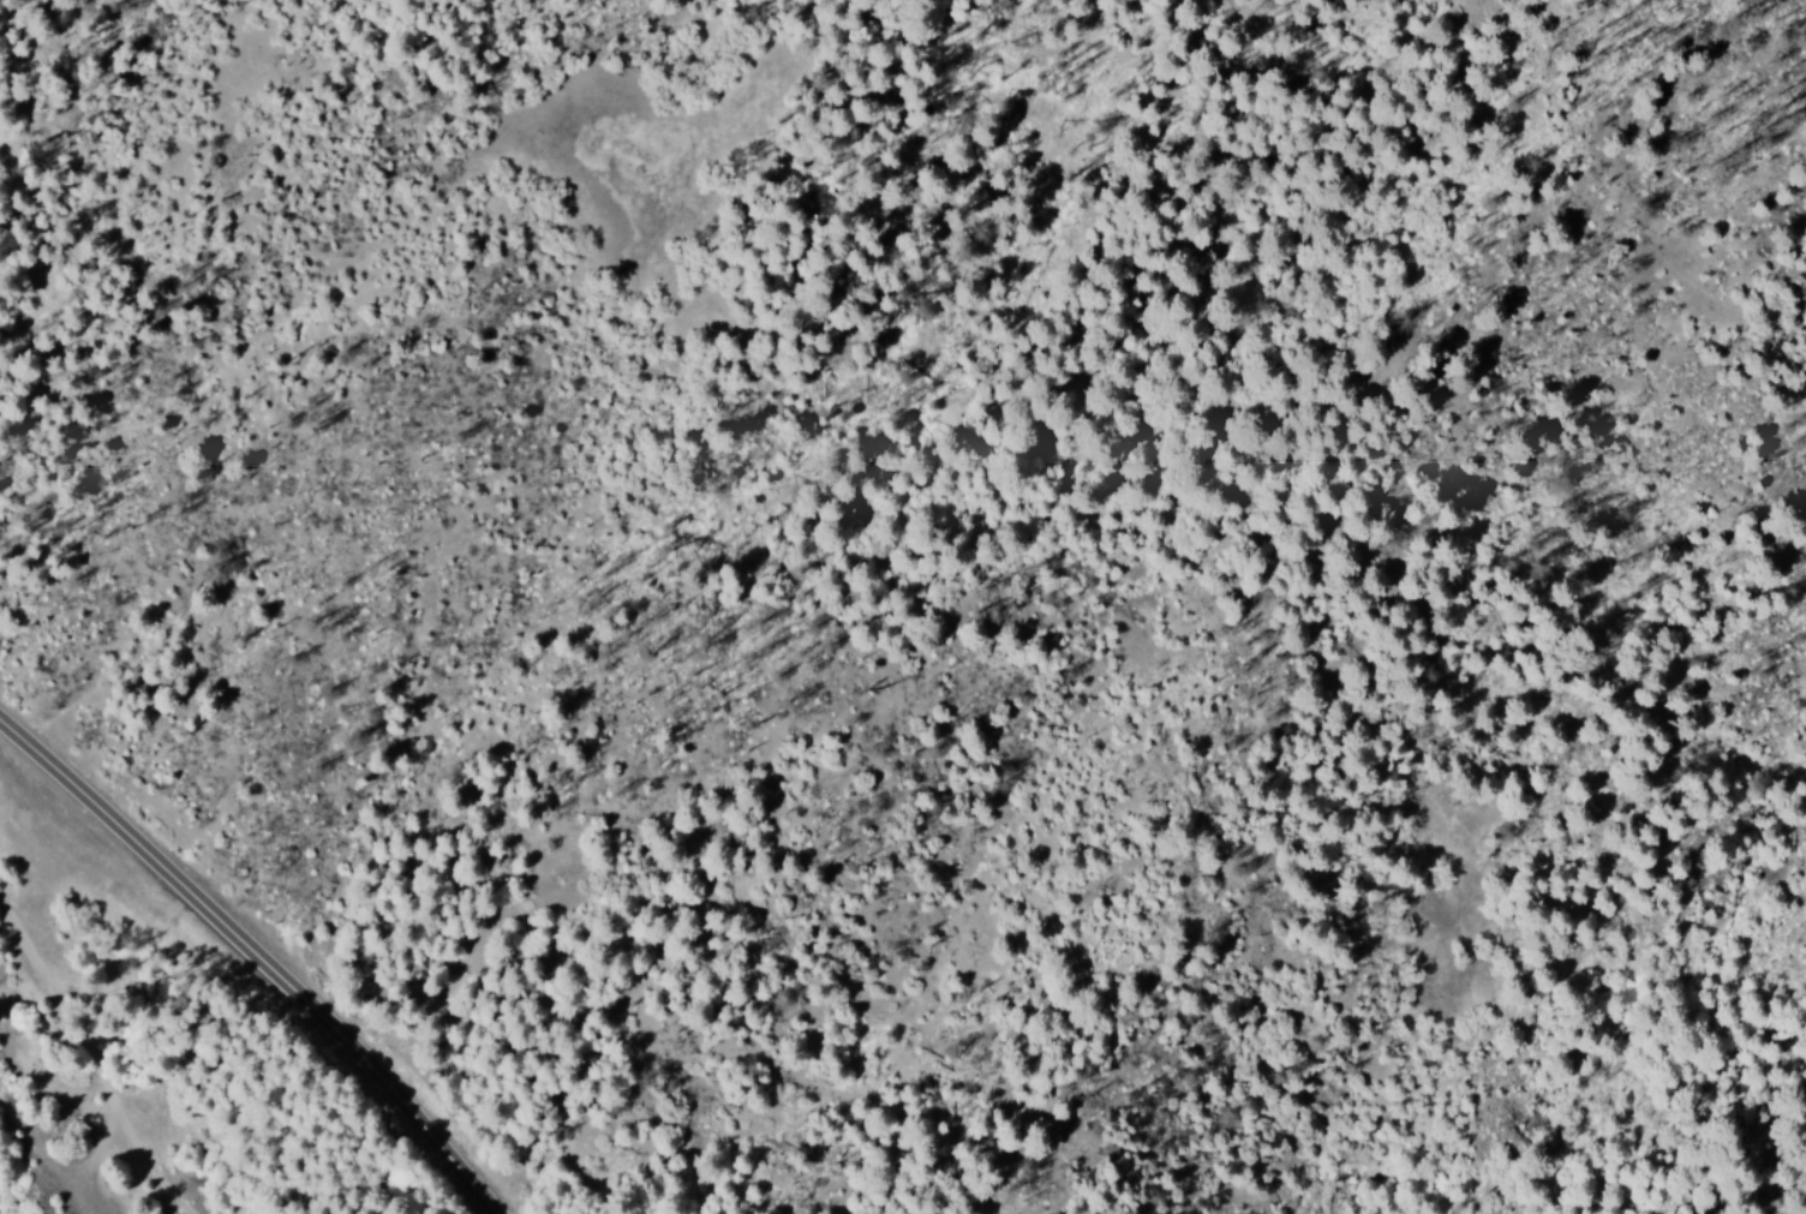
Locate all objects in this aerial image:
road: (285, 943)
road: (89, 1052)

